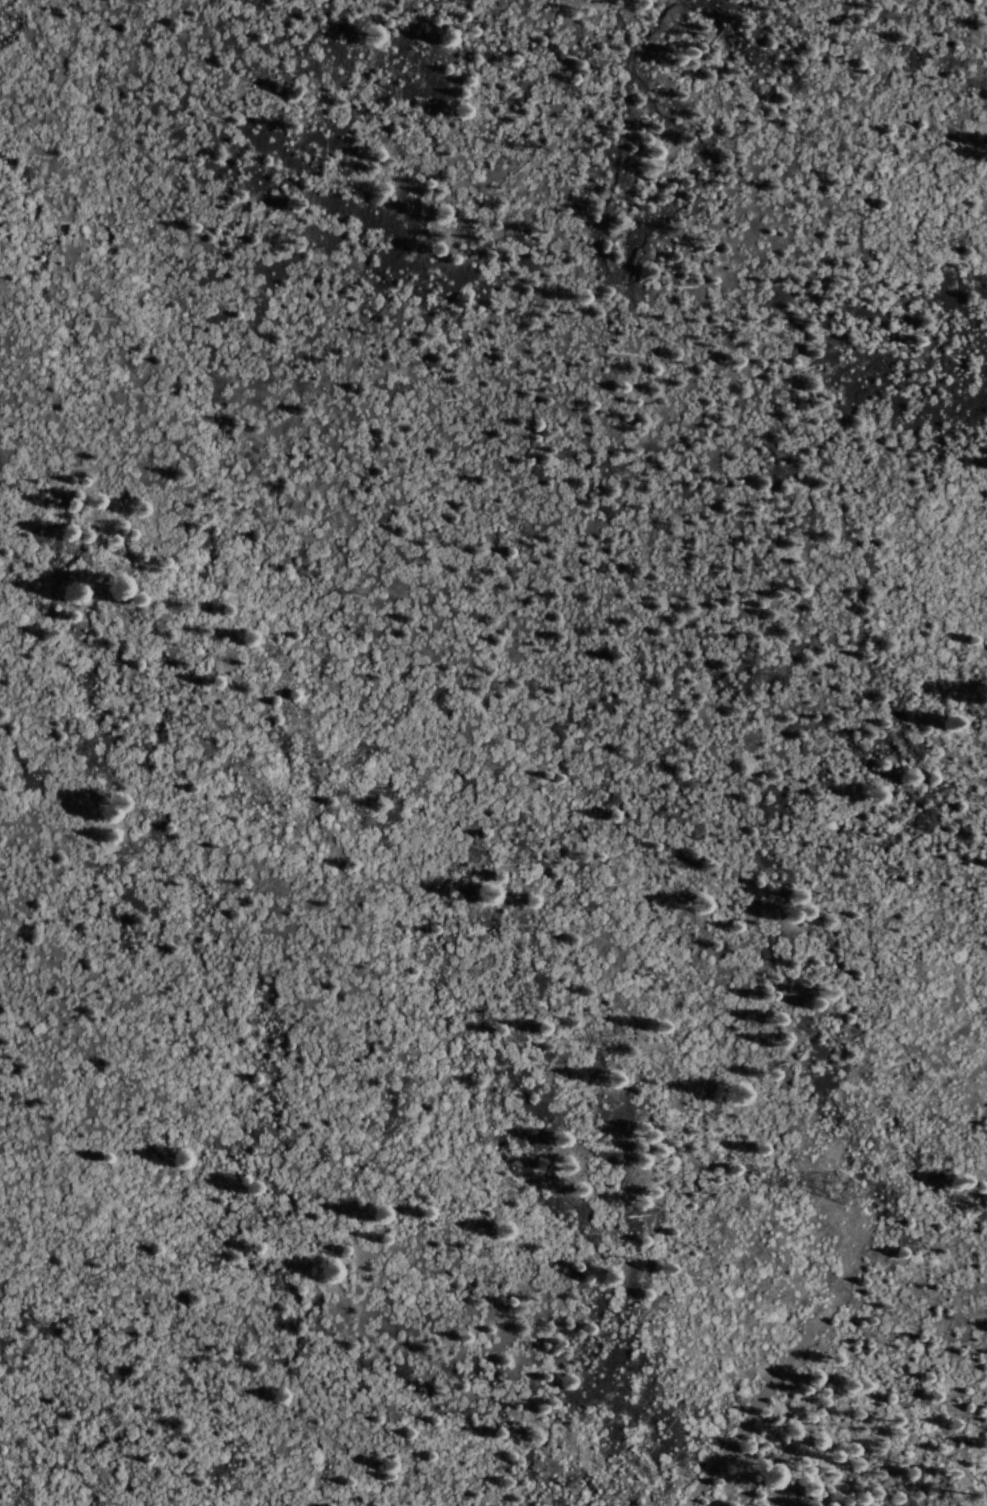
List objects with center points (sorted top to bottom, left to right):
power tower: (857, 1171)

